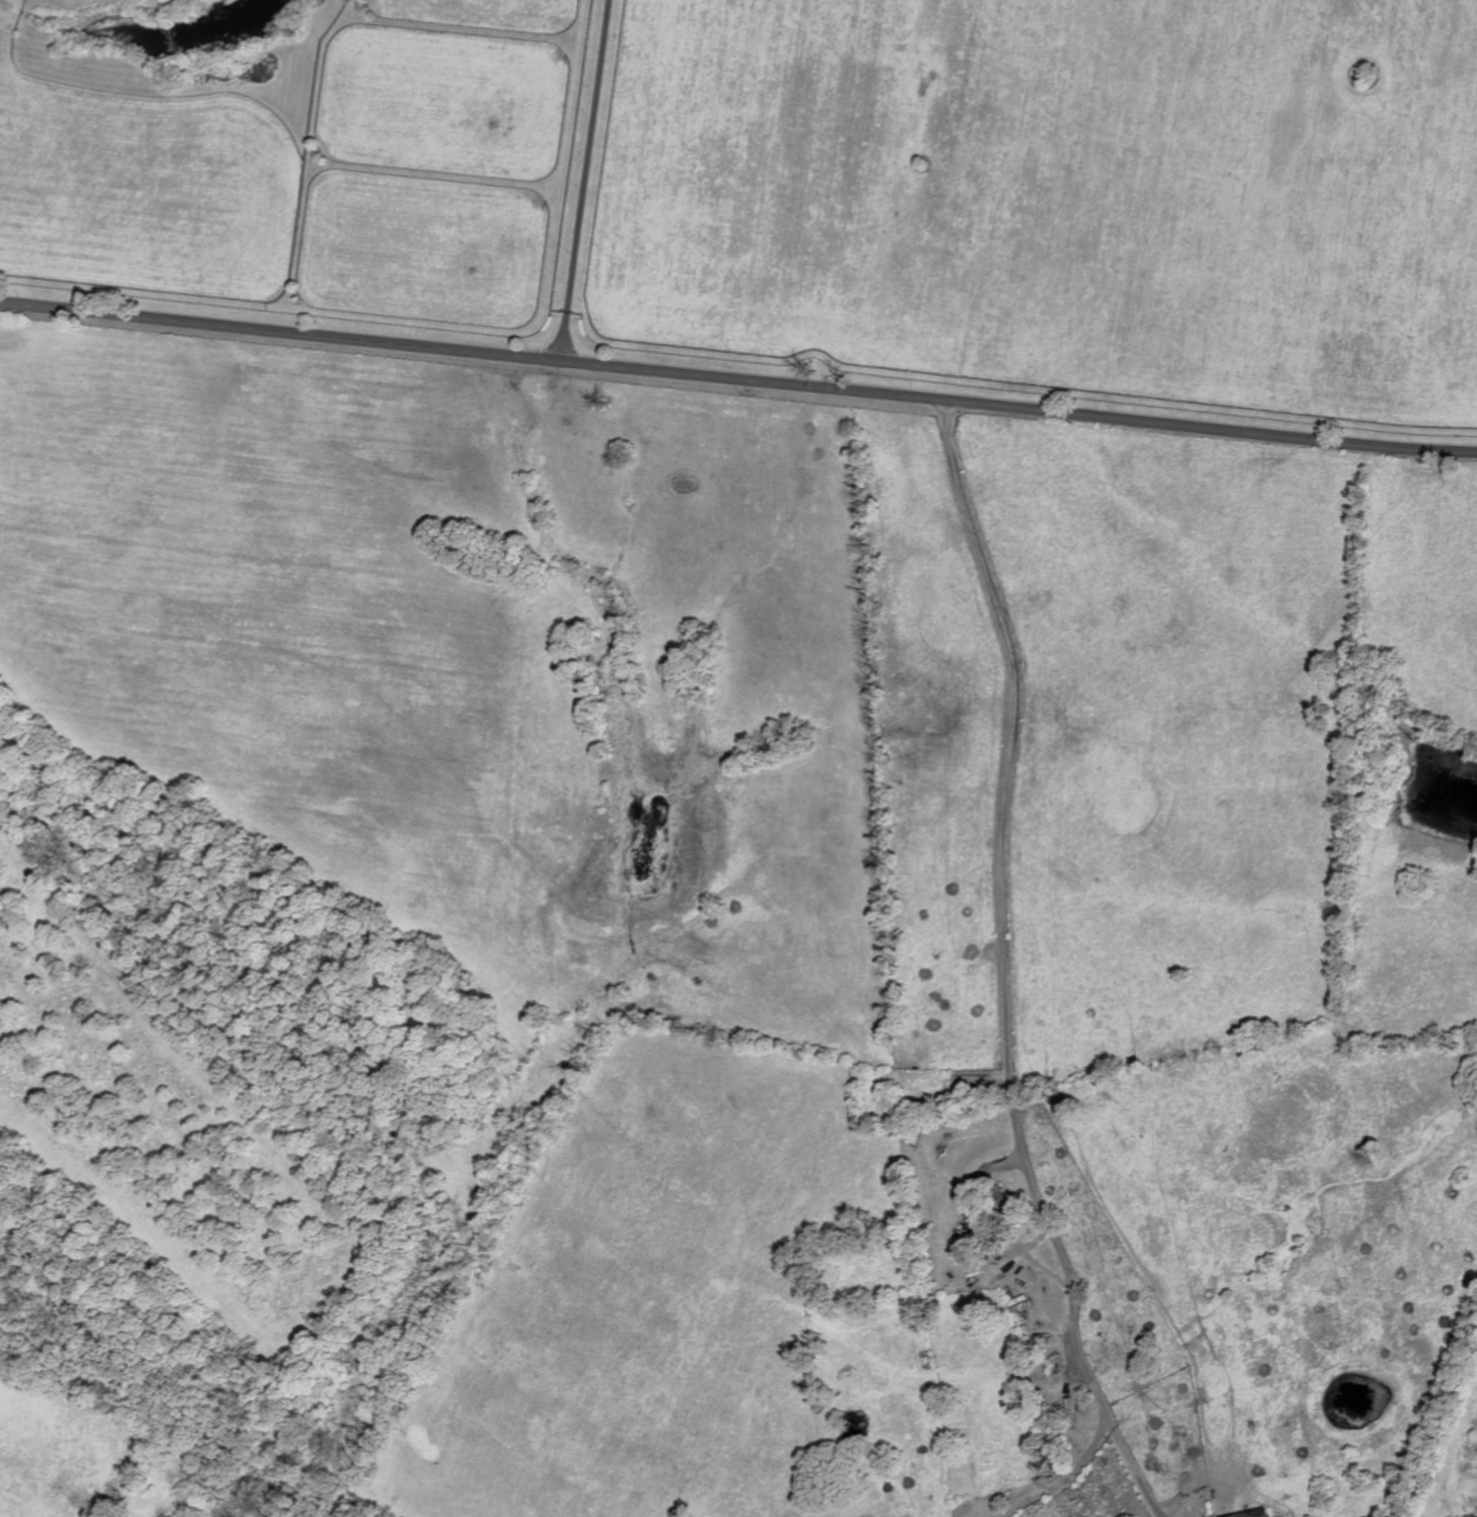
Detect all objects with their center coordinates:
road: (585, 179)
road: (738, 378)
road: (1002, 905)
building: (968, 1224)
building: (957, 1225)
building: (972, 1235)
building: (924, 1358)
building: (1258, 1514)

